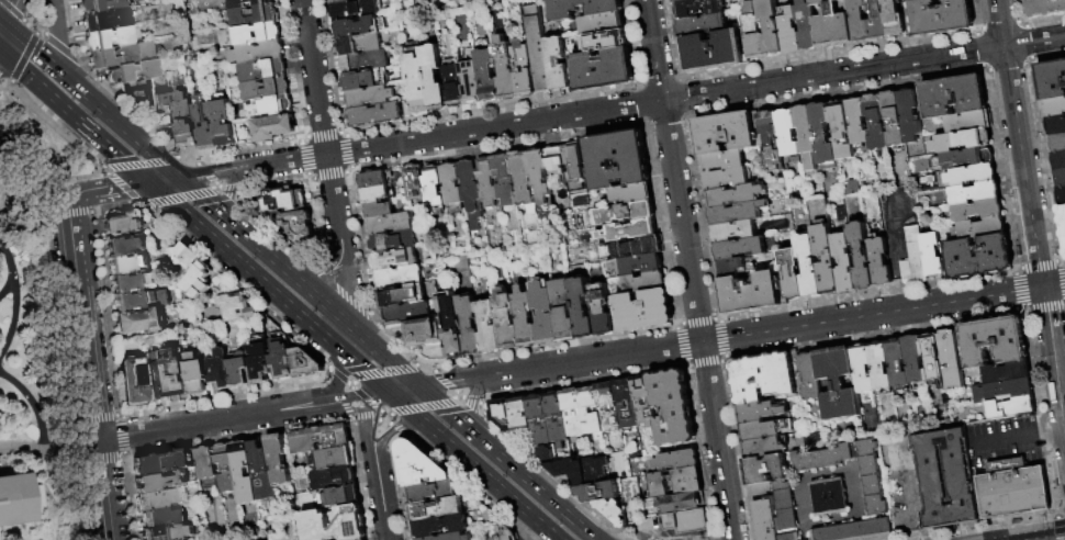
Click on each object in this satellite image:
building: (680, 0)
building: (341, 1)
building: (245, 3)
road: (997, 4)
building: (101, 5)
building: (696, 8)
building: (1044, 8)
building: (355, 10)
road: (10, 12)
building: (601, 12)
building: (253, 15)
building: (940, 16)
building: (894, 18)
building: (859, 20)
building: (877, 20)
building: (105, 21)
building: (601, 22)
road: (1, 23)
road: (1, 24)
traffic signals: (2, 24)
building: (702, 24)
building: (806, 25)
building: (832, 25)
building: (358, 27)
building: (771, 27)
building: (788, 30)
road: (1, 31)
building: (753, 31)
road: (54, 35)
building: (250, 35)
building: (108, 38)
building: (605, 40)
road: (1004, 42)
building: (360, 44)
road: (30, 47)
building: (537, 48)
building: (711, 50)
building: (256, 53)
building: (121, 55)
road: (24, 57)
building: (363, 61)
building: (556, 63)
building: (504, 68)
building: (522, 68)
building: (599, 69)
building: (261, 70)
building: (485, 71)
building: (133, 72)
building: (433, 77)
building: (366, 78)
building: (1052, 78)
building: (416, 79)
building: (470, 81)
building: (452, 85)
building: (264, 89)
building: (369, 95)
building: (954, 95)
building: (137, 97)
road: (623, 106)
building: (1055, 106)
building: (267, 108)
building: (164, 111)
building: (375, 114)
building: (910, 114)
road: (72, 117)
road: (322, 119)
building: (894, 119)
building: (183, 120)
building: (221, 121)
building: (857, 121)
building: (876, 122)
building: (967, 123)
building: (203, 124)
building: (1056, 124)
road: (119, 125)
building: (272, 128)
building: (841, 131)
building: (725, 132)
building: (787, 133)
building: (806, 135)
building: (823, 136)
building: (771, 139)
building: (962, 140)
building: (1057, 142)
building: (964, 158)
building: (1058, 159)
building: (619, 160)
building: (724, 160)
building: (578, 162)
road: (35, 167)
building: (558, 169)
road: (1023, 169)
road: (674, 171)
building: (971, 175)
traffic signals: (180, 178)
building: (725, 178)
building: (1061, 178)
building: (505, 179)
road: (164, 180)
building: (373, 180)
traffic signals: (147, 182)
building: (487, 182)
building: (524, 182)
building: (541, 182)
road: (122, 183)
building: (415, 183)
building: (452, 184)
road: (189, 185)
building: (434, 188)
building: (852, 188)
road: (83, 189)
road: (229, 191)
building: (471, 192)
building: (976, 193)
building: (375, 194)
building: (634, 195)
building: (735, 195)
building: (1061, 195)
road: (161, 200)
building: (284, 200)
building: (379, 210)
building: (978, 211)
building: (737, 213)
building: (841, 213)
building: (625, 214)
road: (69, 215)
building: (1062, 217)
building: (125, 224)
building: (390, 225)
building: (300, 226)
building: (979, 228)
building: (629, 232)
building: (733, 232)
road: (246, 236)
building: (393, 243)
building: (825, 246)
building: (128, 247)
building: (739, 248)
building: (632, 249)
building: (861, 254)
building: (917, 255)
building: (932, 256)
road: (74, 257)
building: (979, 257)
building: (395, 260)
building: (879, 262)
building: (845, 263)
building: (127, 265)
building: (642, 265)
building: (809, 266)
road: (326, 268)
building: (731, 268)
road: (12, 270)
building: (193, 271)
building: (459, 271)
building: (907, 272)
building: (793, 274)
road: (1041, 274)
building: (399, 278)
building: (133, 283)
building: (646, 283)
road: (348, 285)
road: (1054, 285)
road: (268, 286)
road: (335, 286)
building: (753, 292)
building: (402, 296)
building: (141, 301)
road: (326, 305)
building: (237, 308)
building: (583, 308)
building: (602, 310)
building: (564, 311)
building: (642, 312)
building: (406, 314)
building: (546, 315)
road: (873, 315)
road: (15, 316)
building: (526, 319)
building: (507, 320)
building: (141, 323)
building: (451, 325)
building: (469, 326)
building: (490, 327)
park: (29, 330)
building: (423, 334)
building: (991, 342)
road: (1054, 356)
building: (260, 359)
building: (933, 359)
road: (389, 360)
building: (952, 360)
road: (86, 361)
building: (915, 361)
building: (290, 363)
building: (897, 364)
road: (404, 365)
road: (561, 365)
building: (881, 367)
building: (220, 370)
building: (862, 370)
building: (239, 371)
road: (338, 373)
building: (198, 374)
building: (1008, 374)
building: (157, 376)
building: (177, 376)
building: (766, 379)
building: (810, 379)
building: (133, 381)
building: (839, 384)
traffic signals: (421, 389)
road: (404, 391)
building: (1005, 392)
traffic signals: (389, 393)
road: (397, 401)
road: (473, 402)
building: (643, 402)
road: (373, 404)
road: (436, 404)
building: (627, 405)
road: (33, 406)
building: (609, 408)
building: (673, 408)
building: (1013, 408)
building: (762, 413)
building: (574, 414)
building: (503, 415)
building: (520, 415)
building: (587, 415)
road: (243, 416)
road: (357, 417)
building: (549, 420)
road: (367, 425)
road: (391, 431)
building: (763, 431)
traffic signals: (391, 432)
road: (1049, 436)
building: (322, 439)
road: (718, 440)
parking lot: (1004, 442)
road: (1005, 442)
building: (764, 448)
road: (48, 450)
building: (547, 455)
building: (335, 459)
building: (279, 460)
building: (677, 462)
building: (162, 463)
building: (209, 463)
road: (508, 464)
building: (419, 466)
building: (226, 470)
building: (599, 470)
building: (765, 471)
building: (262, 472)
building: (571, 472)
building: (245, 474)
road: (482, 474)
building: (945, 477)
building: (334, 479)
building: (161, 482)
building: (671, 485)
road: (905, 485)
road: (102, 490)
building: (1011, 490)
building: (761, 491)
building: (437, 492)
building: (598, 493)
building: (344, 496)
building: (874, 496)
building: (784, 497)
building: (16, 498)
building: (828, 498)
building: (155, 499)
road: (382, 502)
building: (683, 504)
building: (631, 508)
building: (436, 510)
building: (613, 515)
building: (157, 518)
building: (766, 520)
building: (787, 521)
building: (688, 522)
building: (335, 525)
building: (439, 527)
building: (169, 532)
building: (504, 533)
road: (912, 533)
road: (1034, 535)
building: (452, 538)
building: (791, 538)

